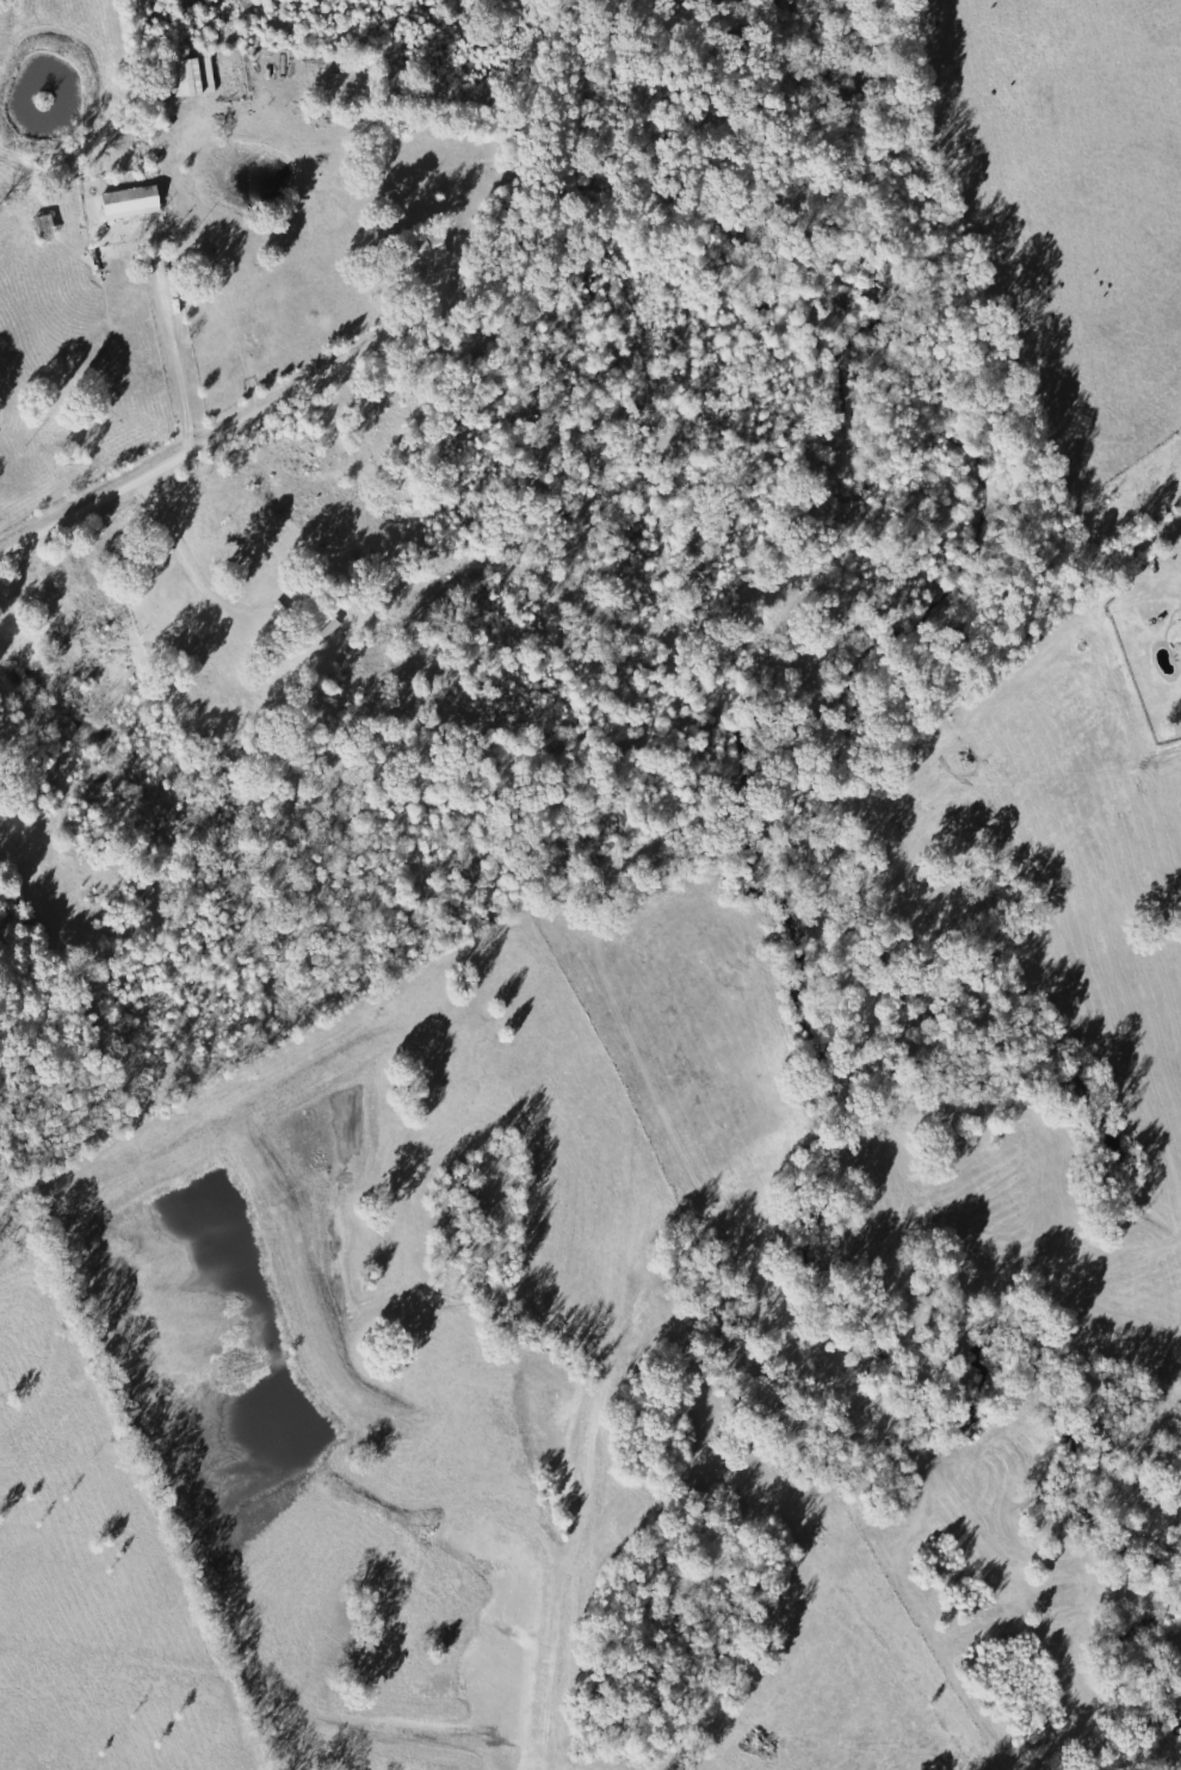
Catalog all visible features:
building: (136, 202)
building: (50, 225)
building: (438, 246)
road: (98, 495)

